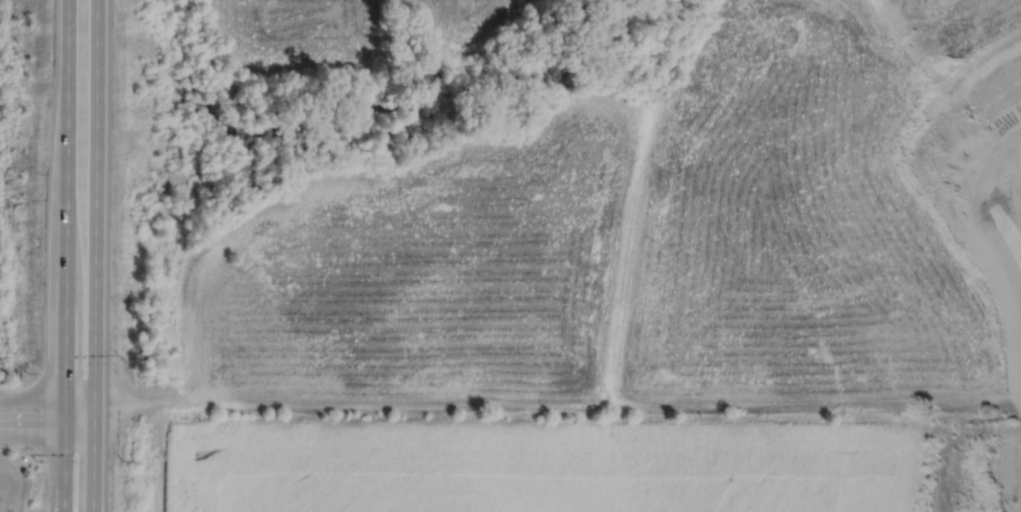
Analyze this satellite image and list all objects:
crop: (470, 18)
crop: (303, 33)
road: (1008, 227)
crop: (633, 242)
road: (66, 255)
road: (96, 256)
road: (8, 386)
road: (48, 402)
traffic signals: (66, 402)
traffic signals: (94, 414)
road: (48, 428)
traffic signals: (65, 429)
road: (7, 450)
crop: (538, 458)

